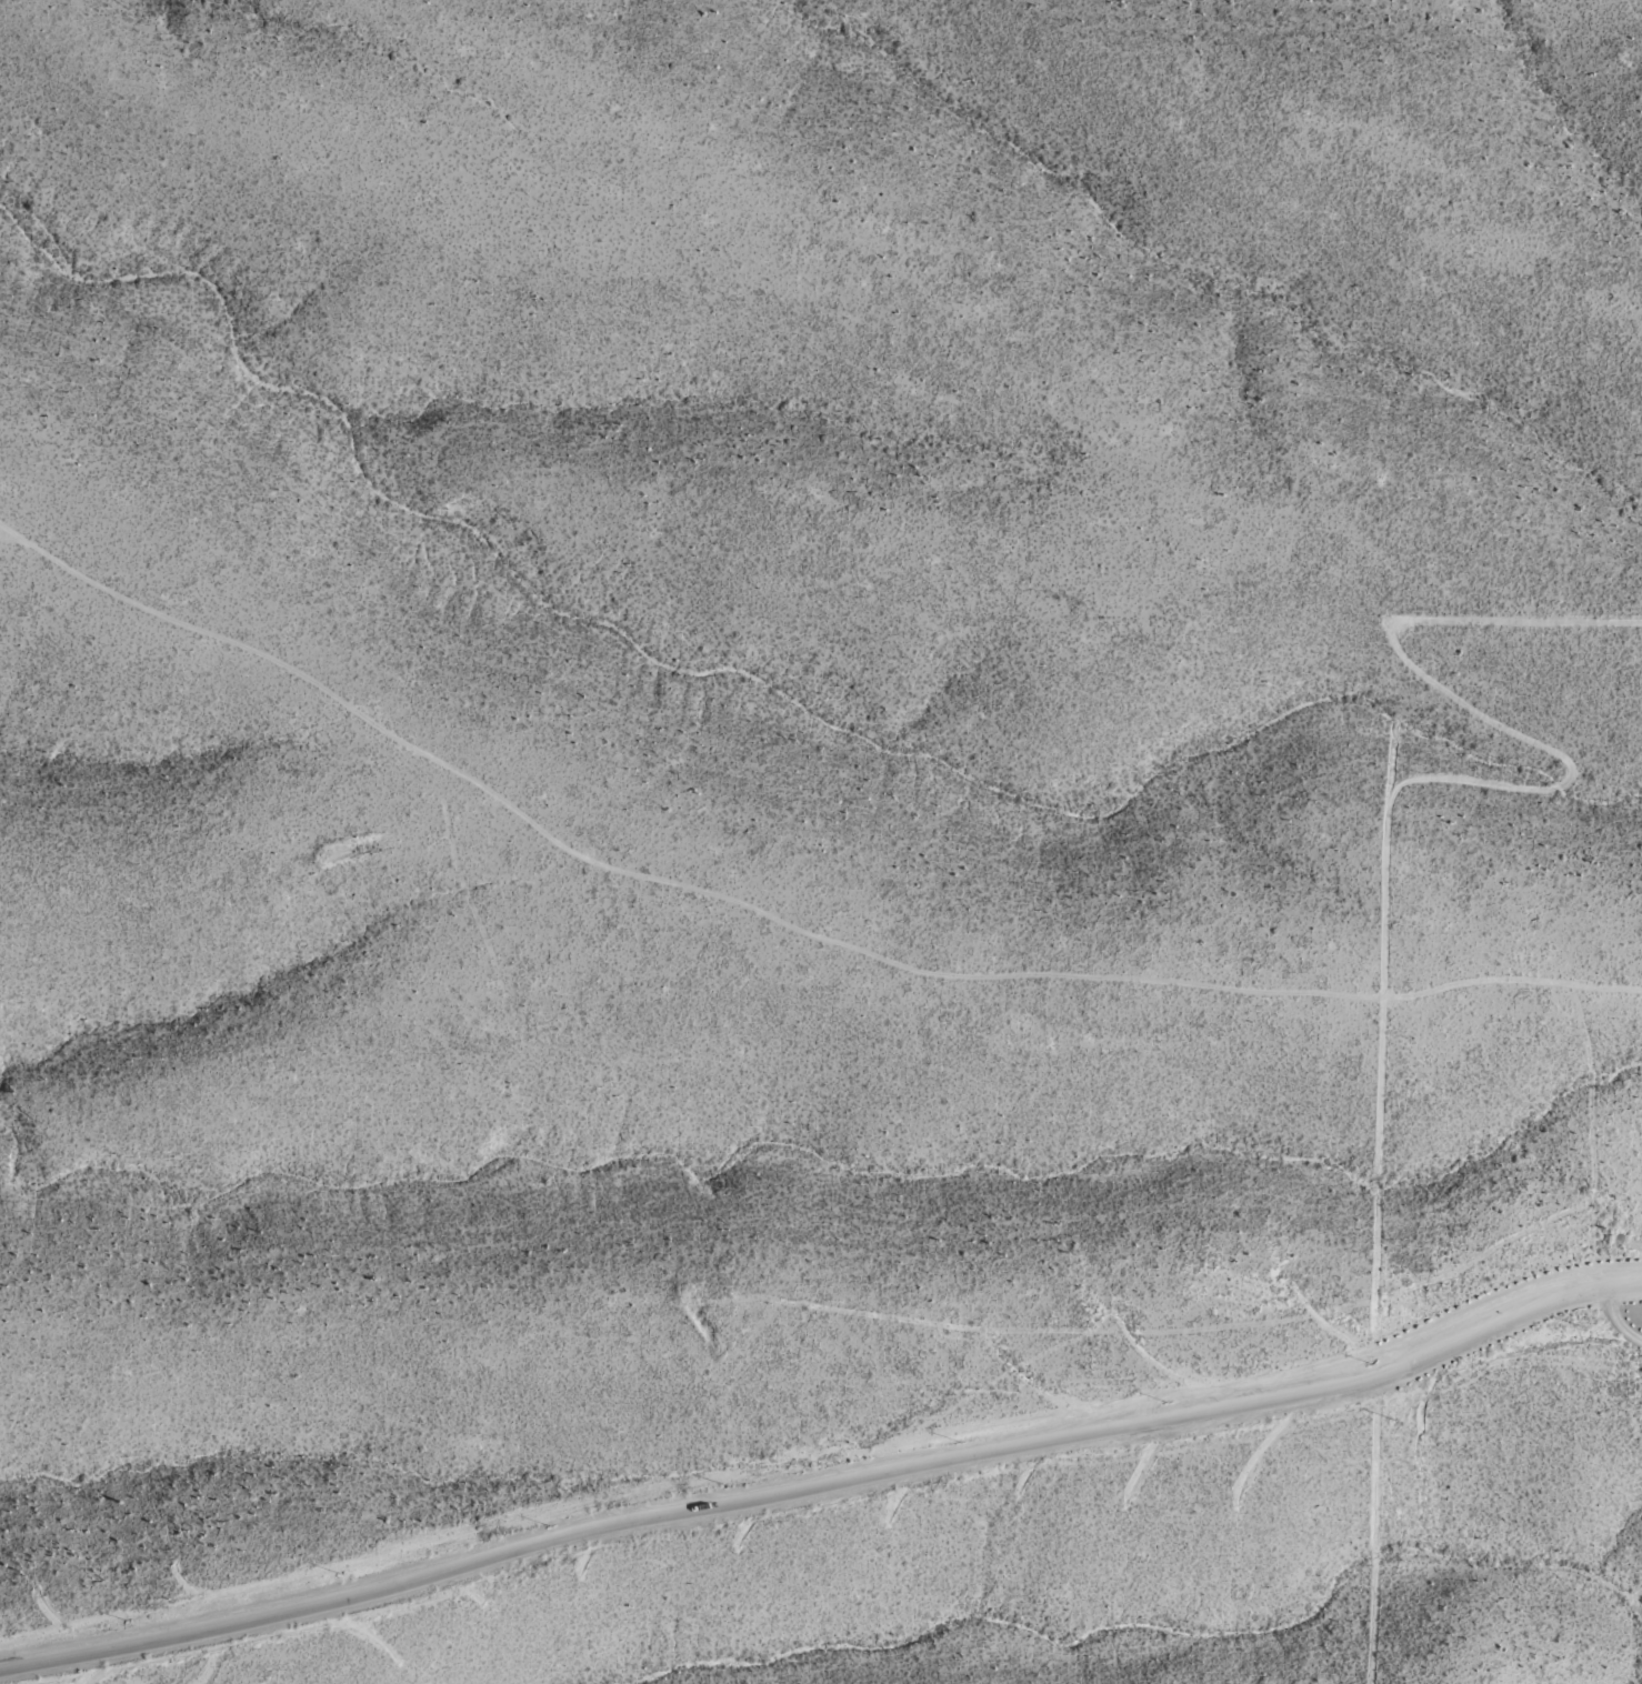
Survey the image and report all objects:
road: (824, 1484)

